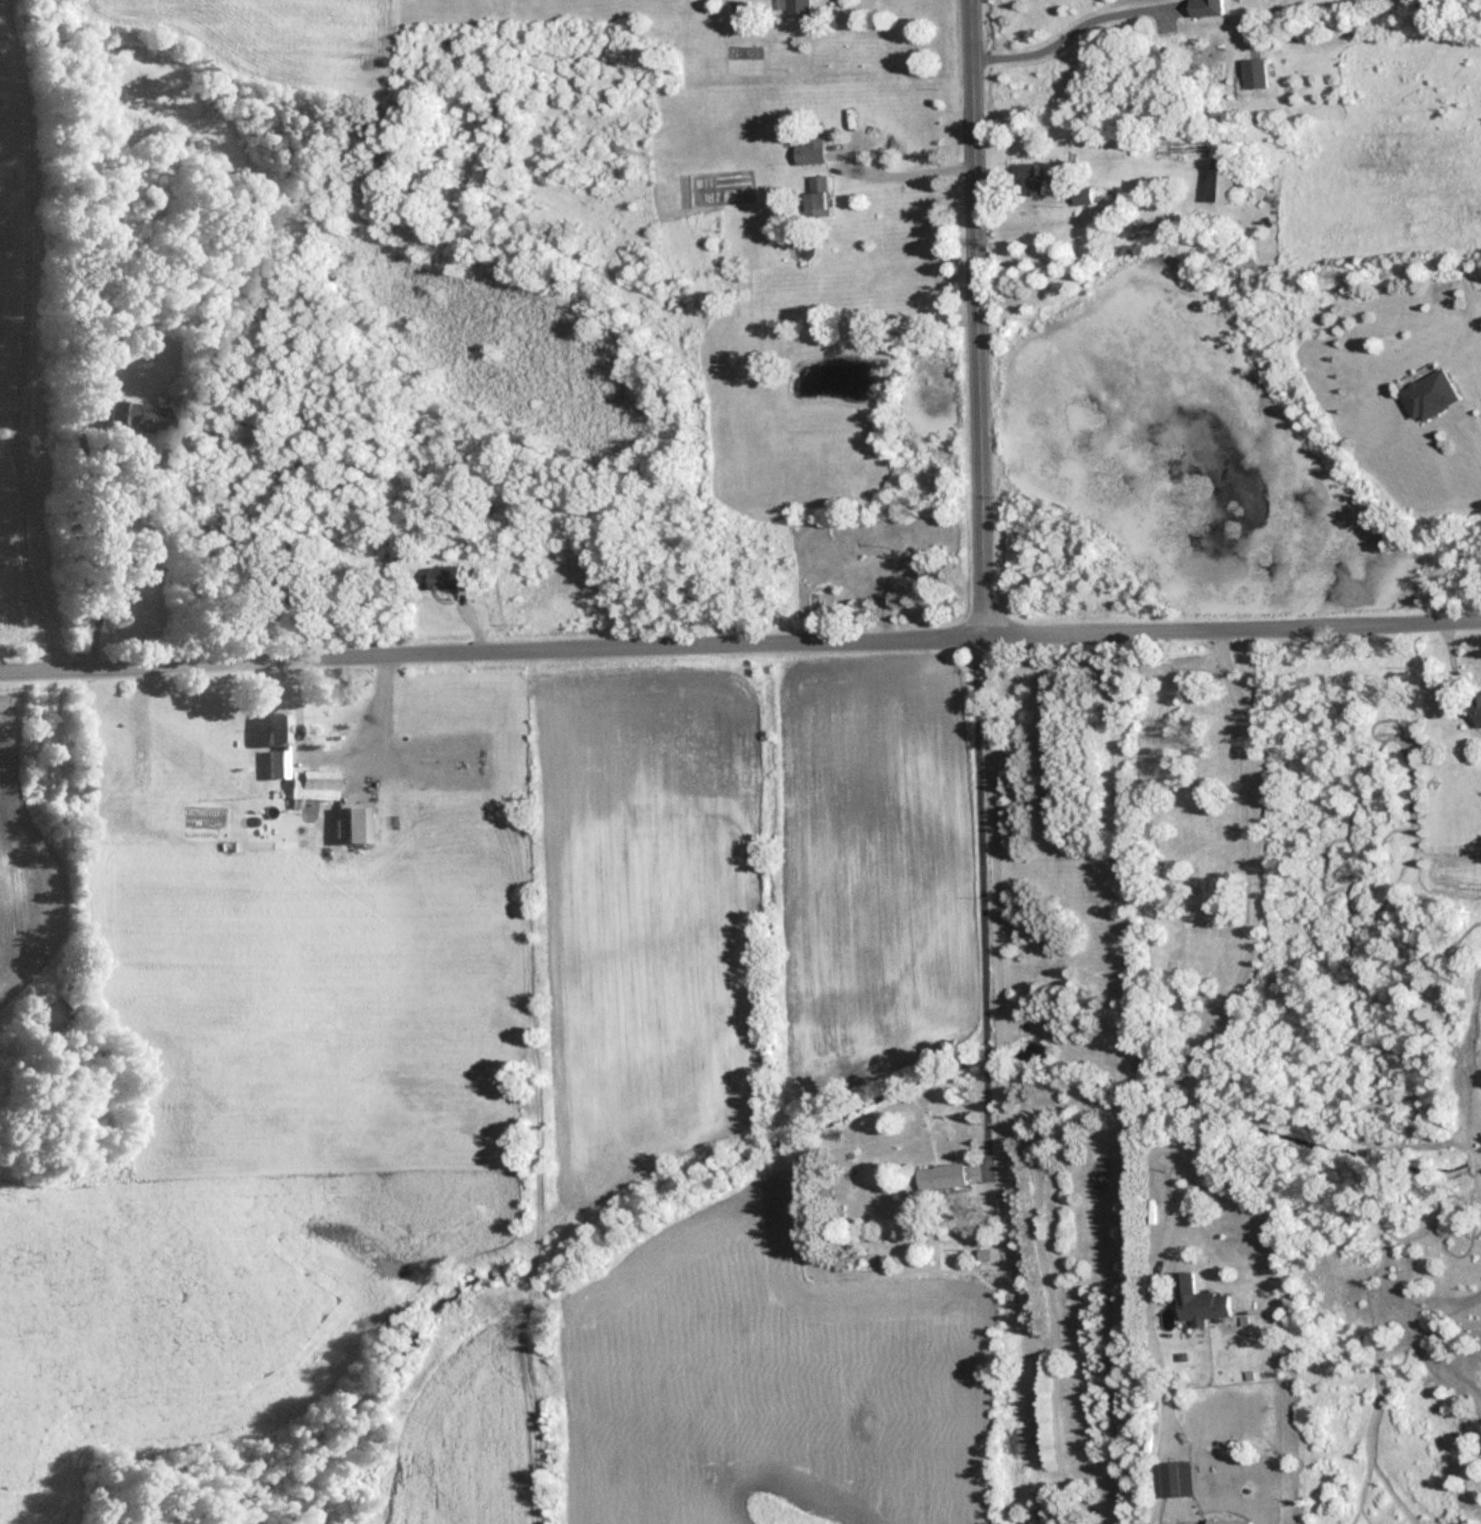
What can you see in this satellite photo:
building: (1202, 7)
building: (795, 8)
road: (1062, 34)
building: (1252, 74)
building: (783, 132)
building: (807, 146)
road: (904, 179)
building: (1028, 180)
building: (1219, 180)
building: (813, 196)
building: (1079, 196)
road: (971, 319)
road: (1474, 363)
building: (1428, 396)
building: (136, 417)
road: (101, 541)
building: (897, 571)
building: (443, 578)
road: (740, 645)
building: (1475, 710)
building: (274, 744)
road: (329, 758)
building: (143, 775)
building: (310, 784)
building: (353, 823)
road: (976, 896)
road: (1245, 958)
road: (994, 1081)
building: (940, 1176)
building: (981, 1254)
building: (1201, 1307)
building: (1171, 1479)

